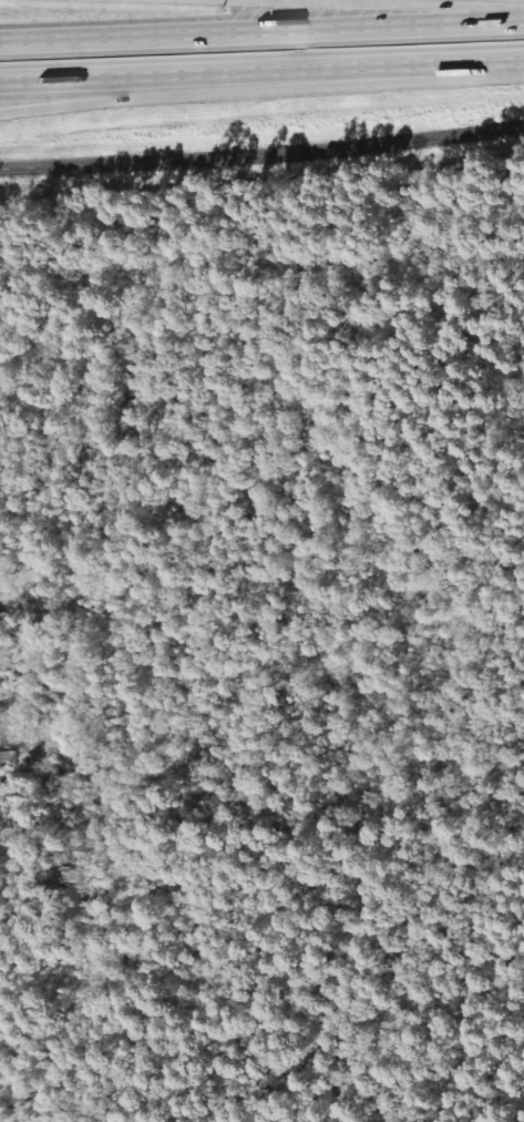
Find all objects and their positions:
road: (386, 3)
road: (261, 33)
road: (261, 64)
road: (261, 90)
road: (263, 155)

